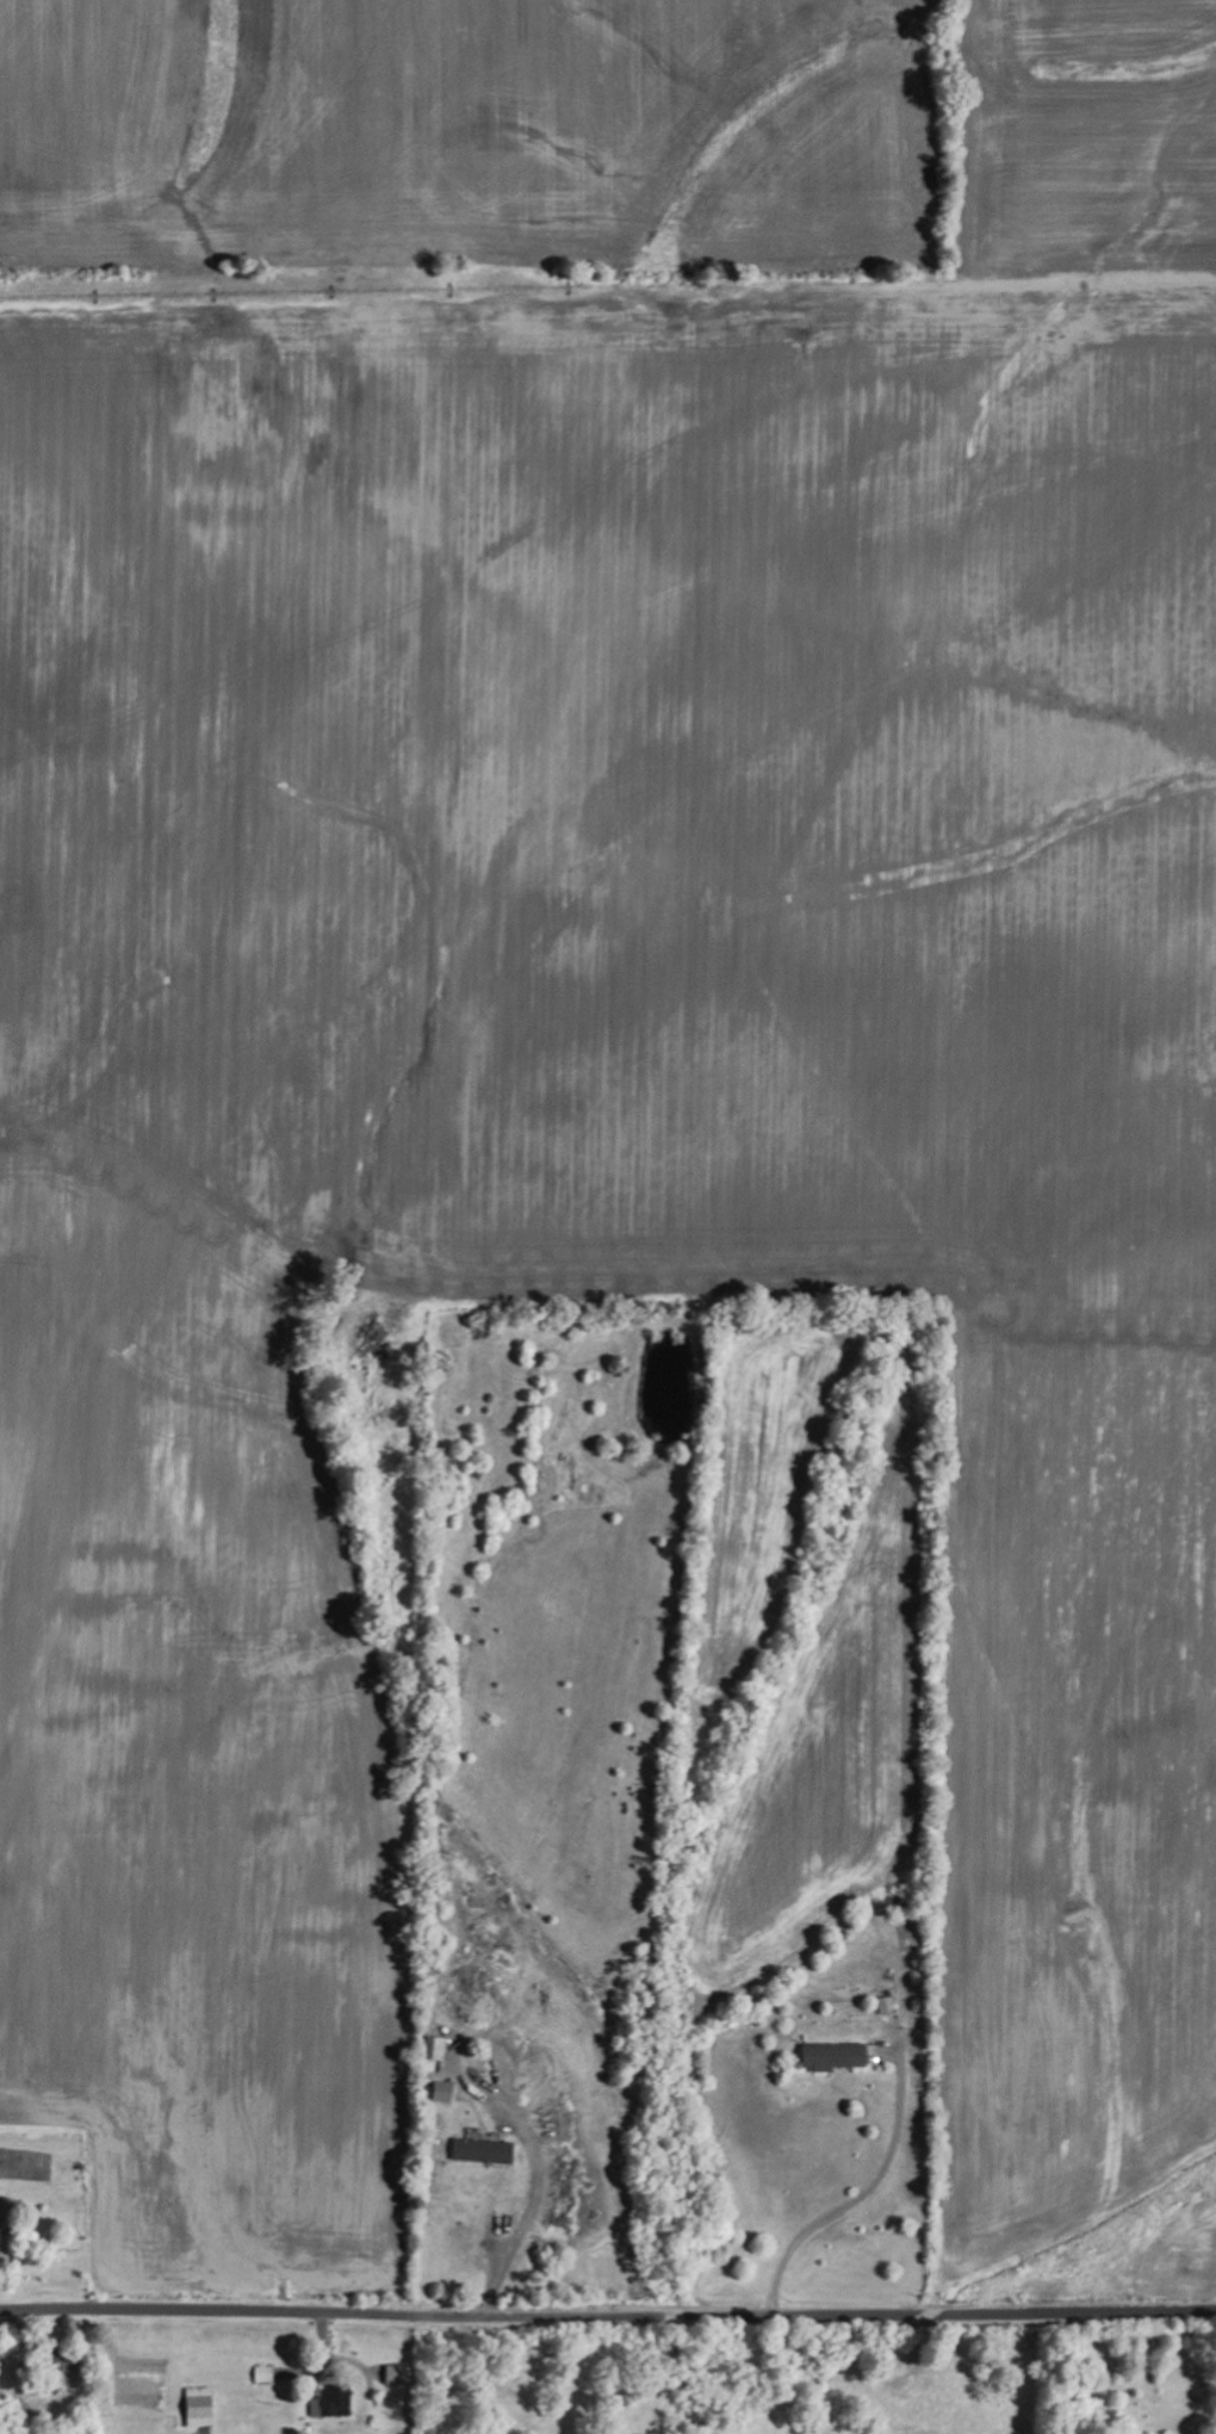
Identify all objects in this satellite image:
building: (438, 2048)
building: (825, 2056)
building: (446, 2092)
building: (483, 2151)
building: (2, 2231)
road: (607, 2315)
building: (265, 2373)
building: (334, 2402)
building: (201, 2407)

